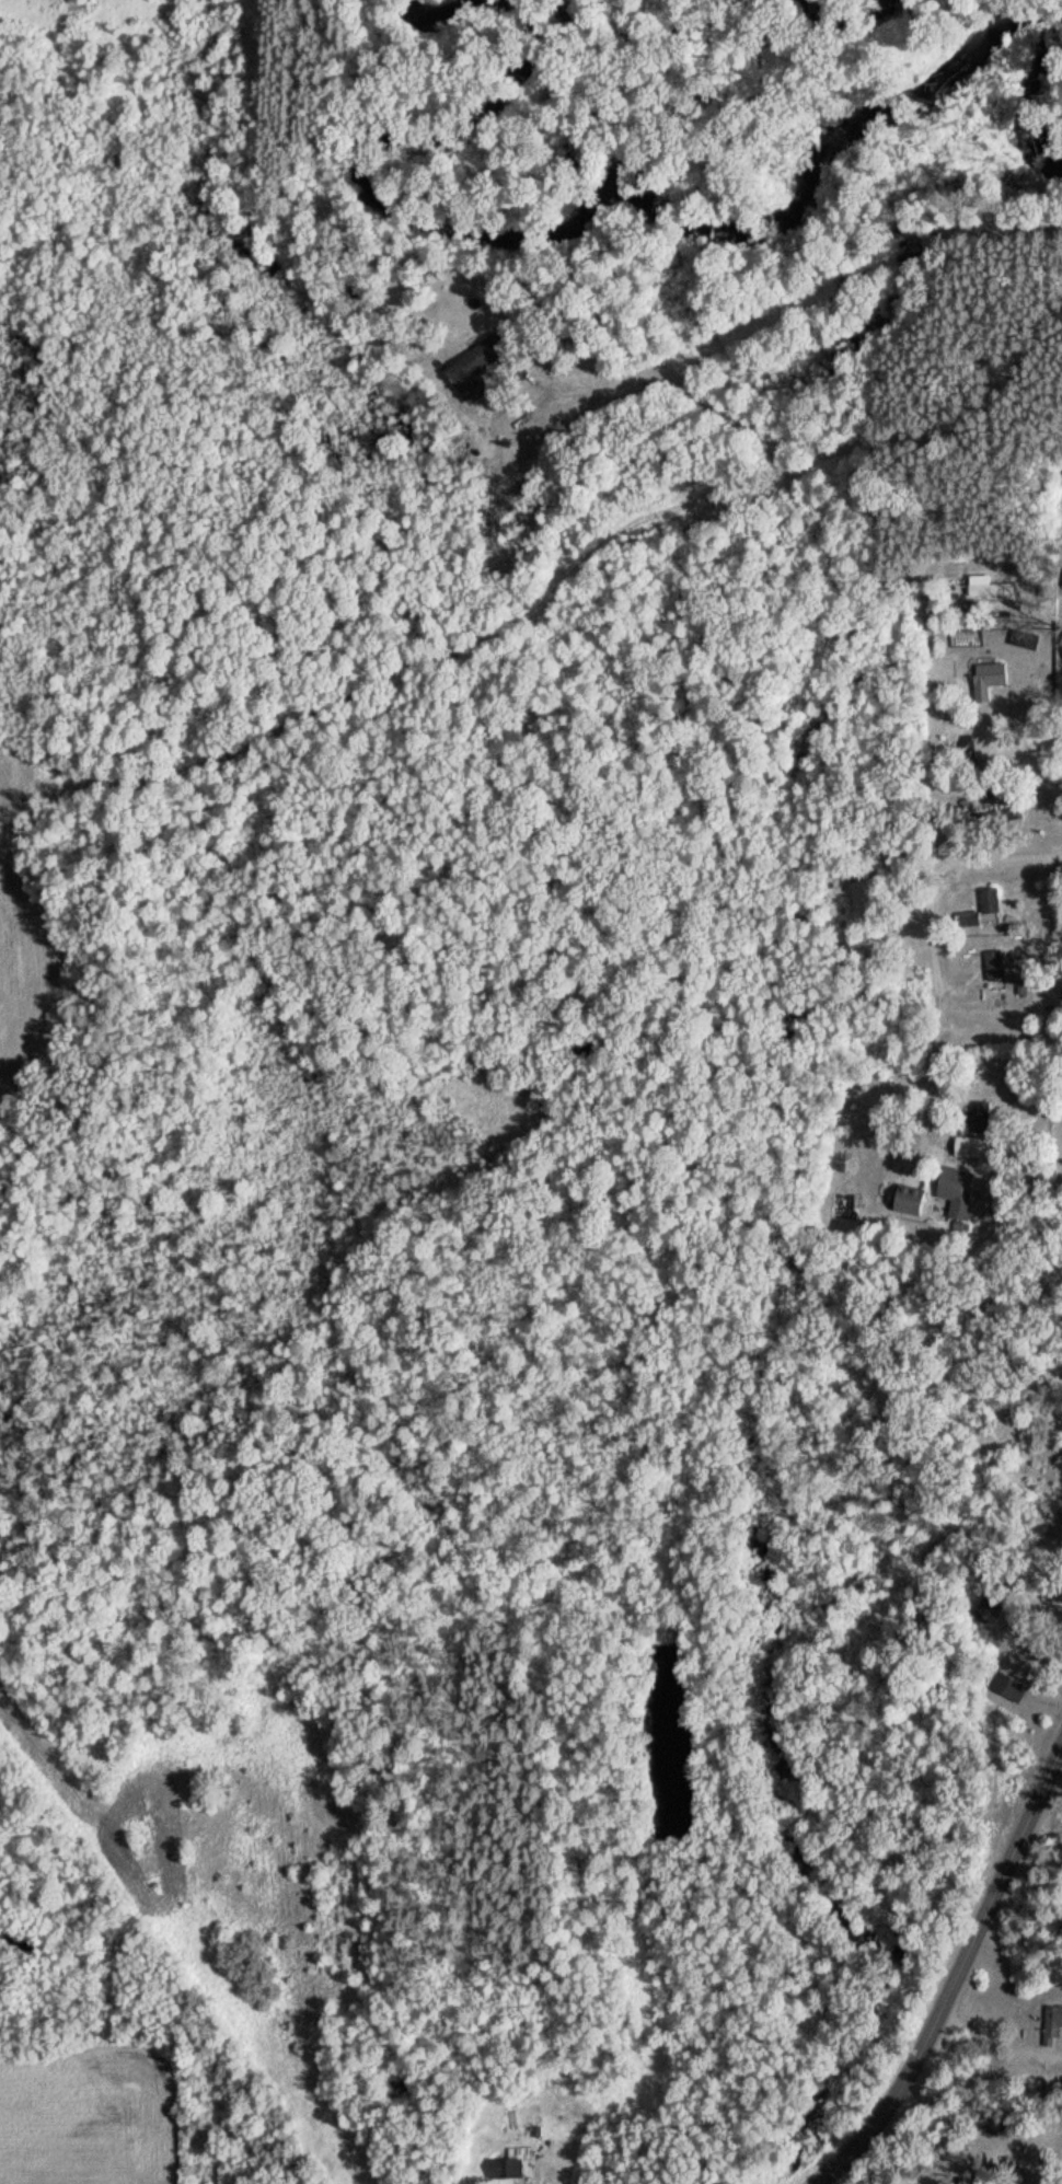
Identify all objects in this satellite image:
river: (445, 2)
river: (648, 200)
building: (473, 368)
road: (666, 384)
road: (946, 407)
building: (986, 587)
building: (1061, 587)
building: (969, 610)
building: (986, 679)
road: (931, 697)
building: (968, 750)
building: (989, 786)
road: (998, 856)
building: (988, 900)
building: (970, 918)
building: (993, 966)
road: (930, 1082)
building: (977, 1117)
building: (969, 1146)
building: (961, 1194)
building: (907, 1199)
building: (983, 1610)
building: (1008, 1688)
road: (958, 1978)
building: (1051, 2025)
building: (506, 2165)
road: (532, 2176)

